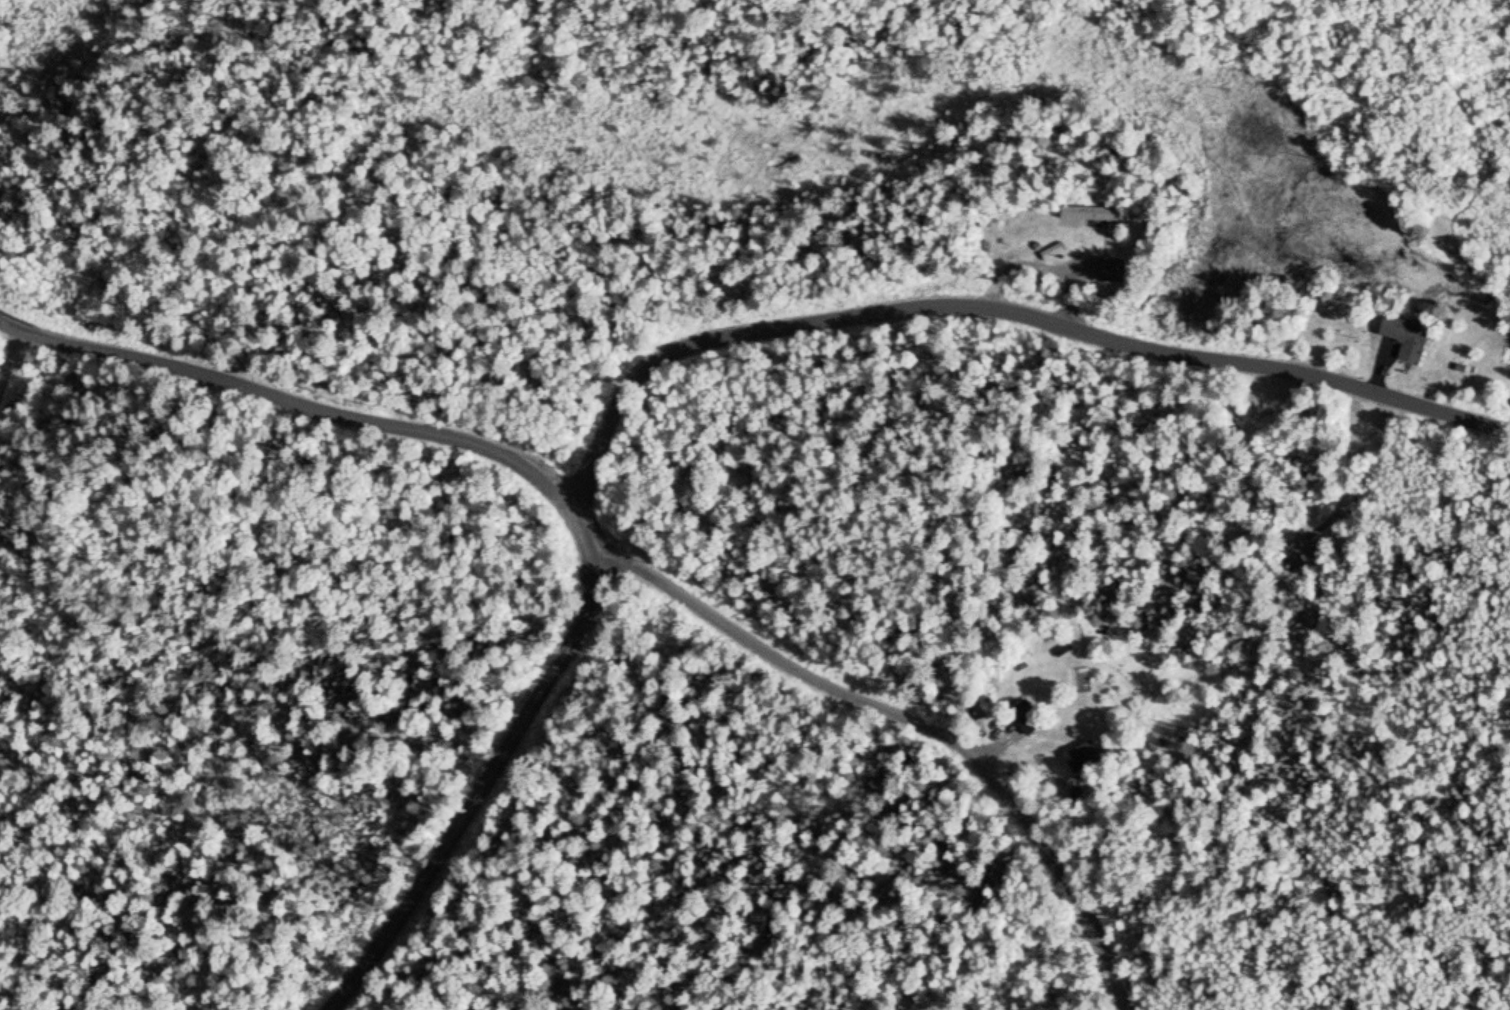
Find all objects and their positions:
building: (1088, 212)
building: (1110, 268)
road: (990, 309)
building: (1405, 336)
road: (10, 359)
road: (561, 498)
building: (1021, 721)
road: (911, 727)
building: (1081, 756)

